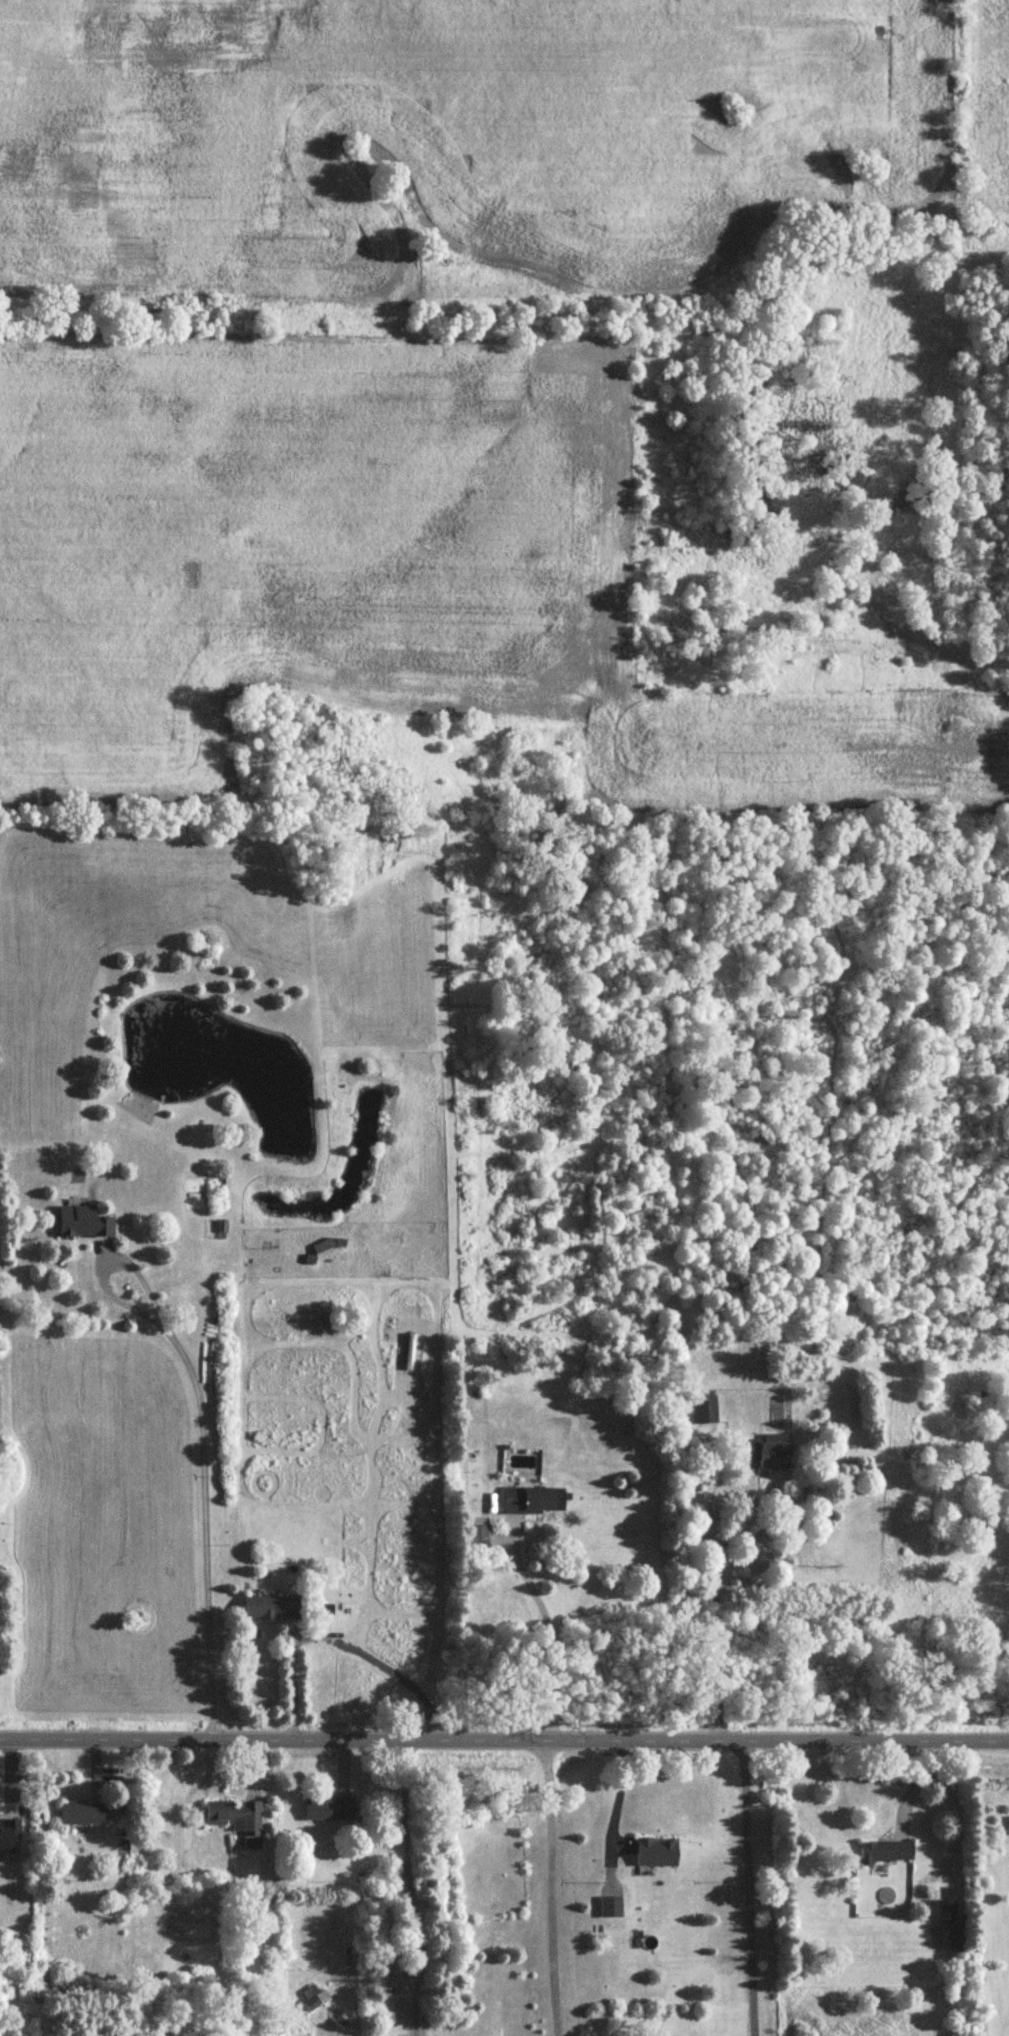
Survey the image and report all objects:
building: (83, 1224)
building: (705, 1411)
road: (202, 1439)
building: (767, 1453)
building: (529, 1501)
building: (271, 1609)
road: (715, 1624)
road: (548, 1631)
road: (334, 1637)
road: (504, 1738)
building: (329, 1811)
road: (616, 1811)
building: (84, 1815)
building: (235, 1818)
building: (8, 1835)
building: (655, 1853)
building: (885, 1853)
road: (412, 1885)
road: (551, 1888)
road: (742, 1888)
building: (312, 2004)
building: (309, 2031)

